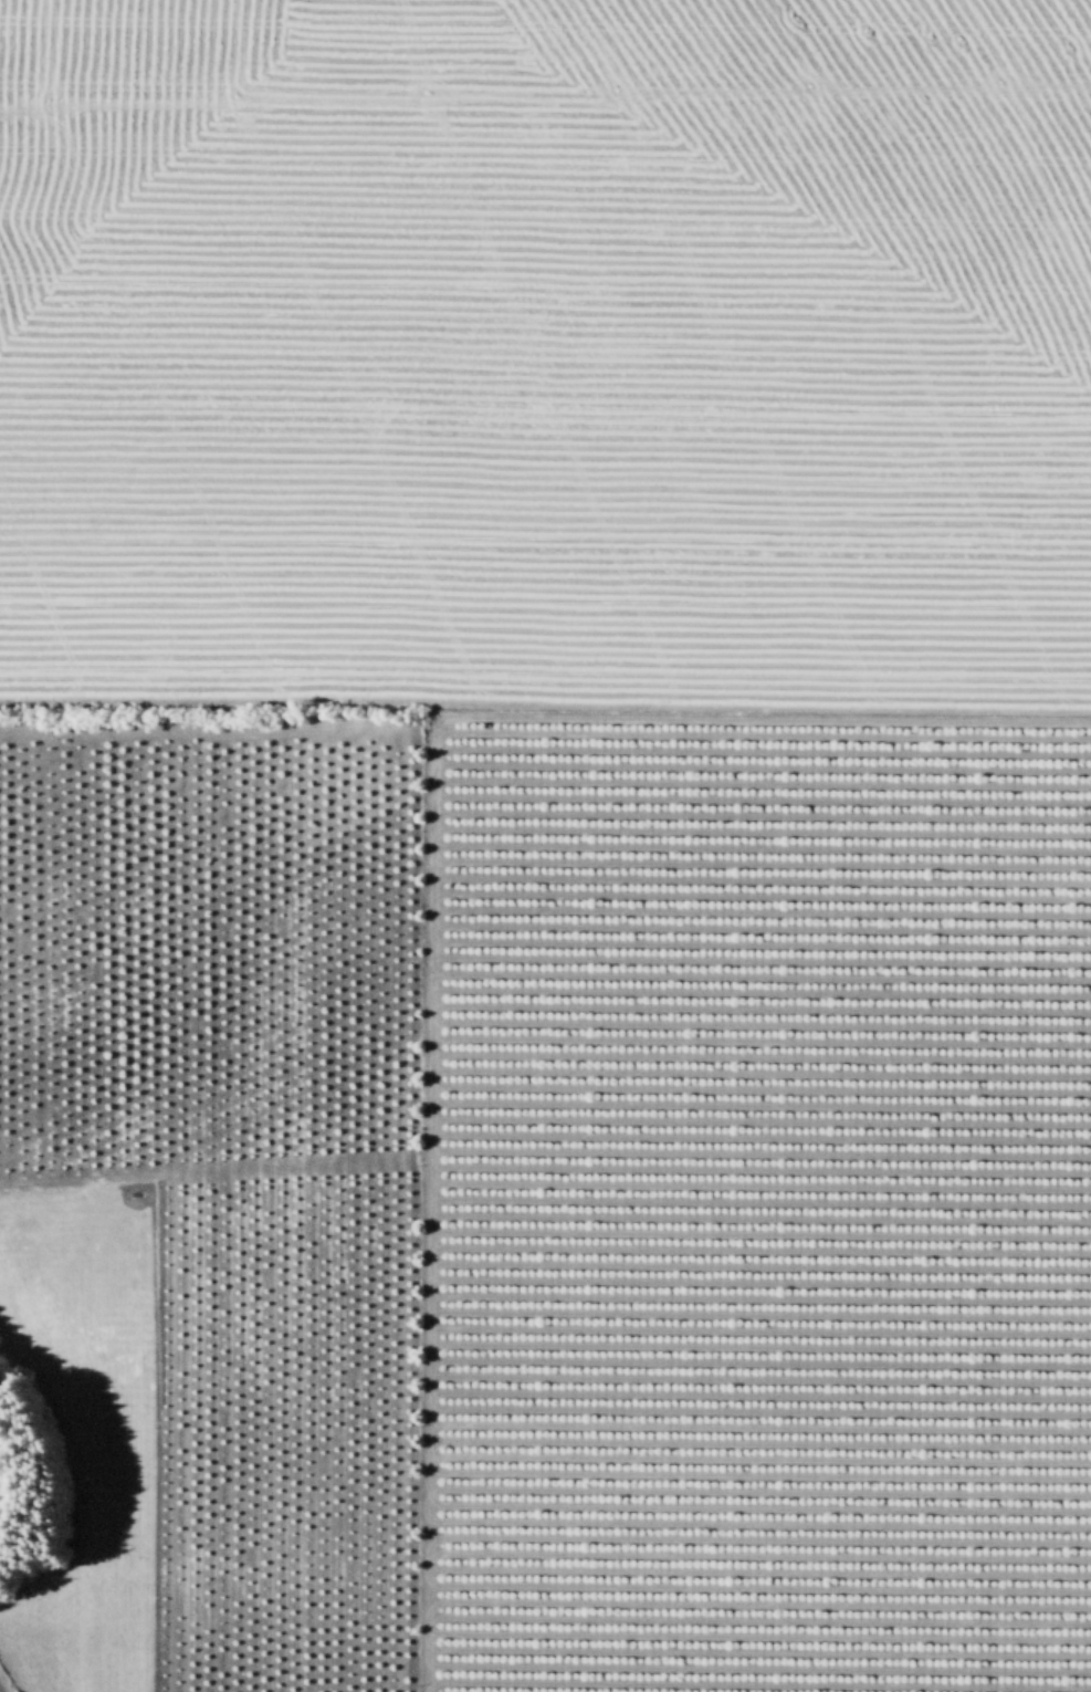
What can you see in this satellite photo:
crop: (545, 846)

